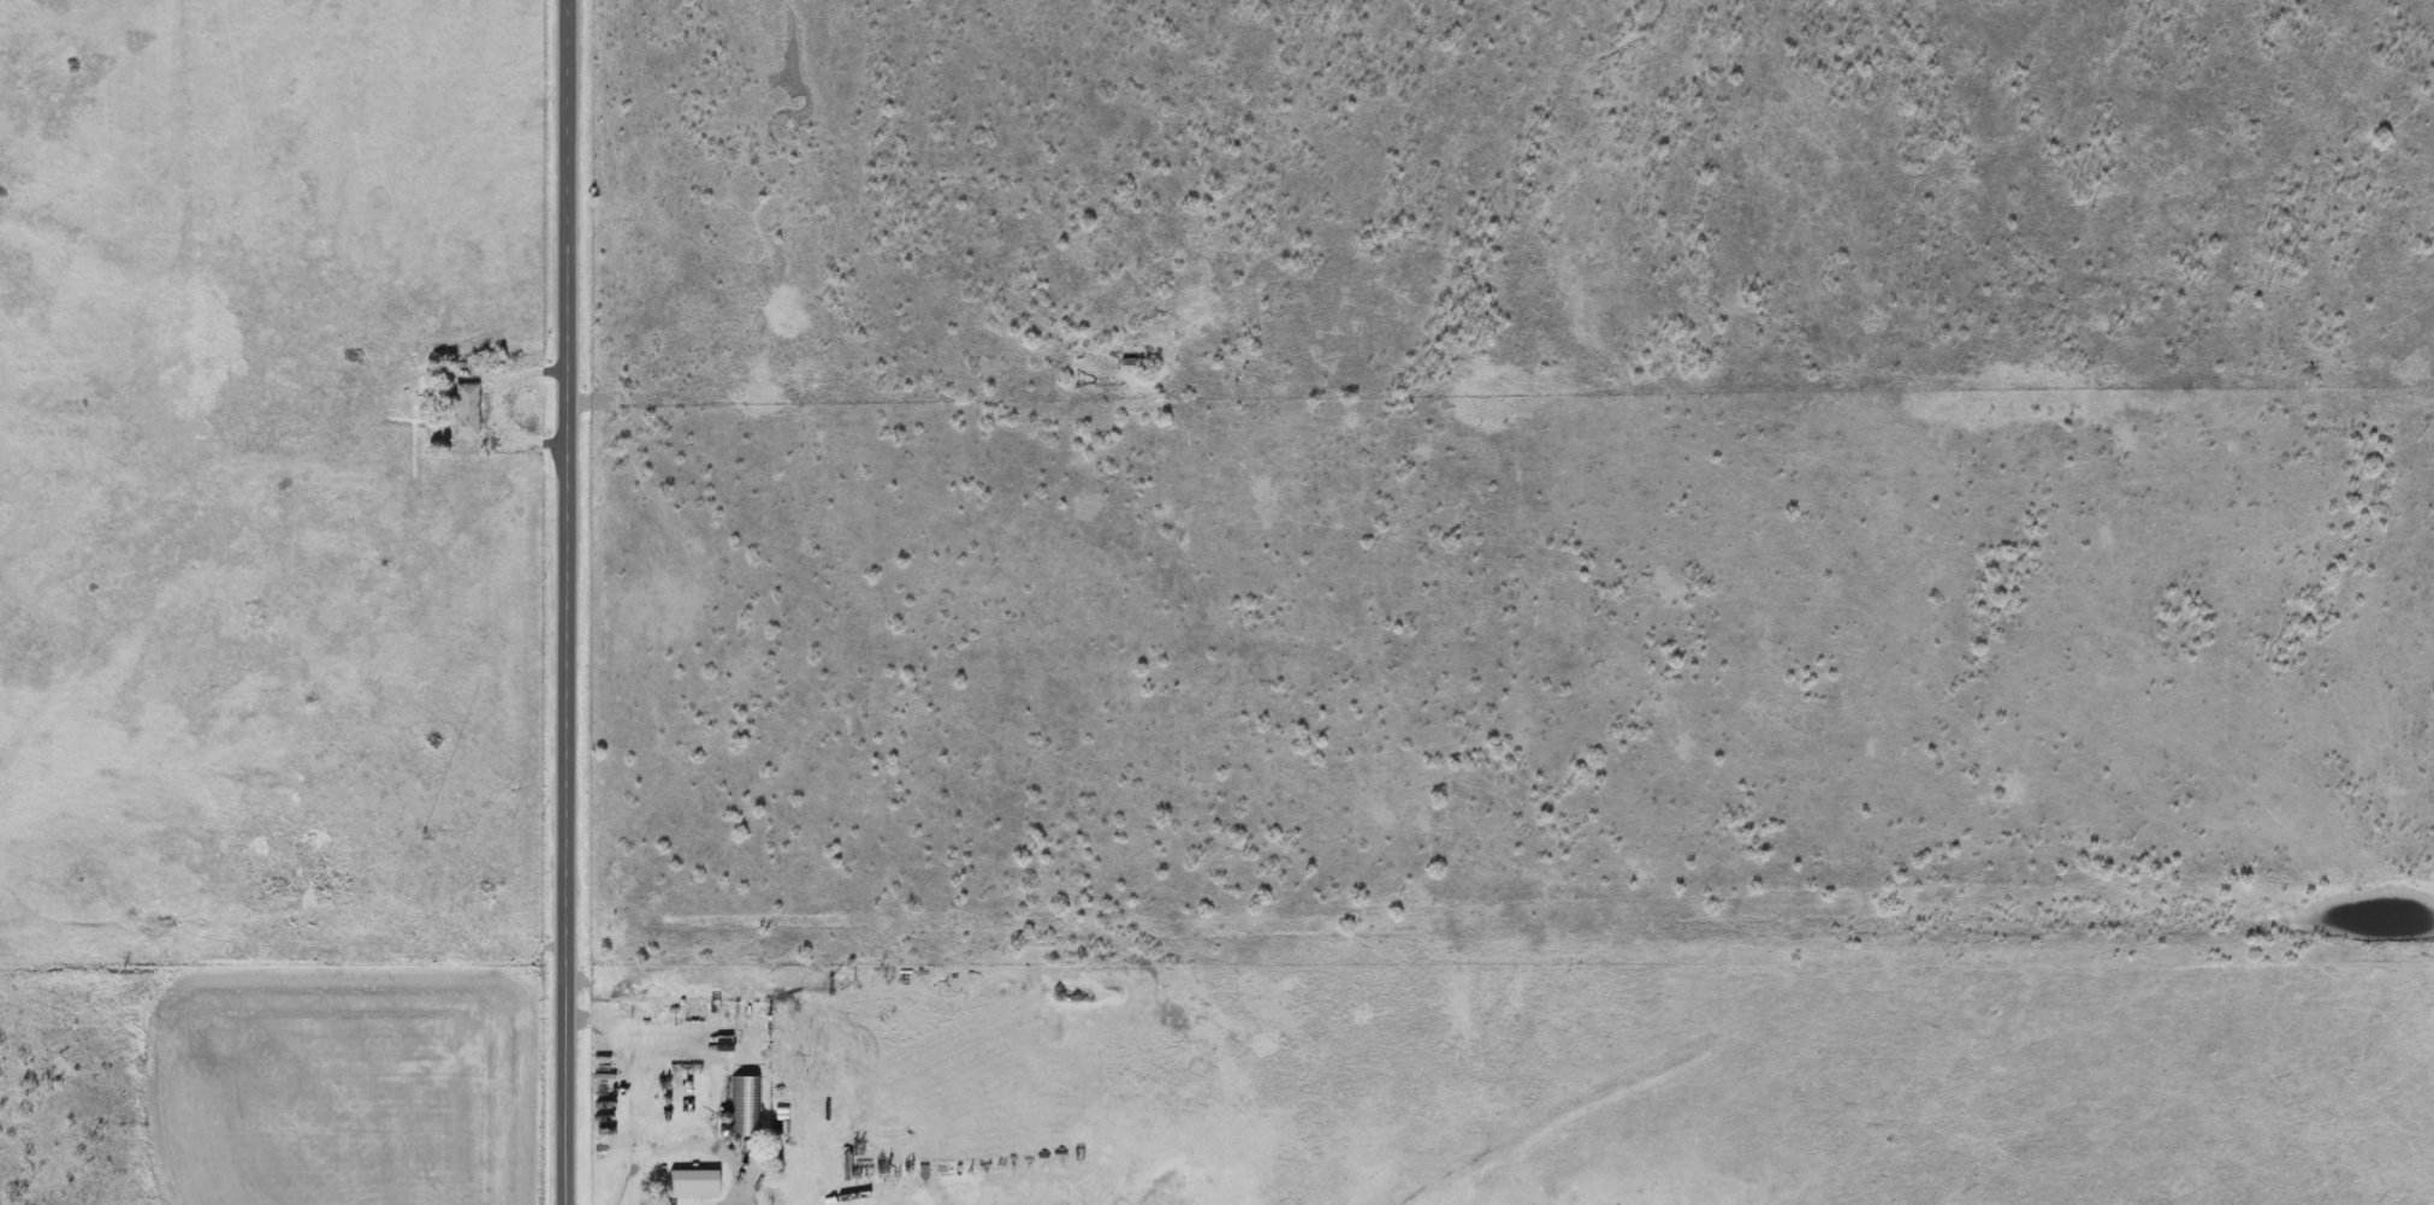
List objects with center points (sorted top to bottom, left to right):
building: (462, 411)
road: (580, 602)
building: (744, 1105)
building: (689, 1183)

